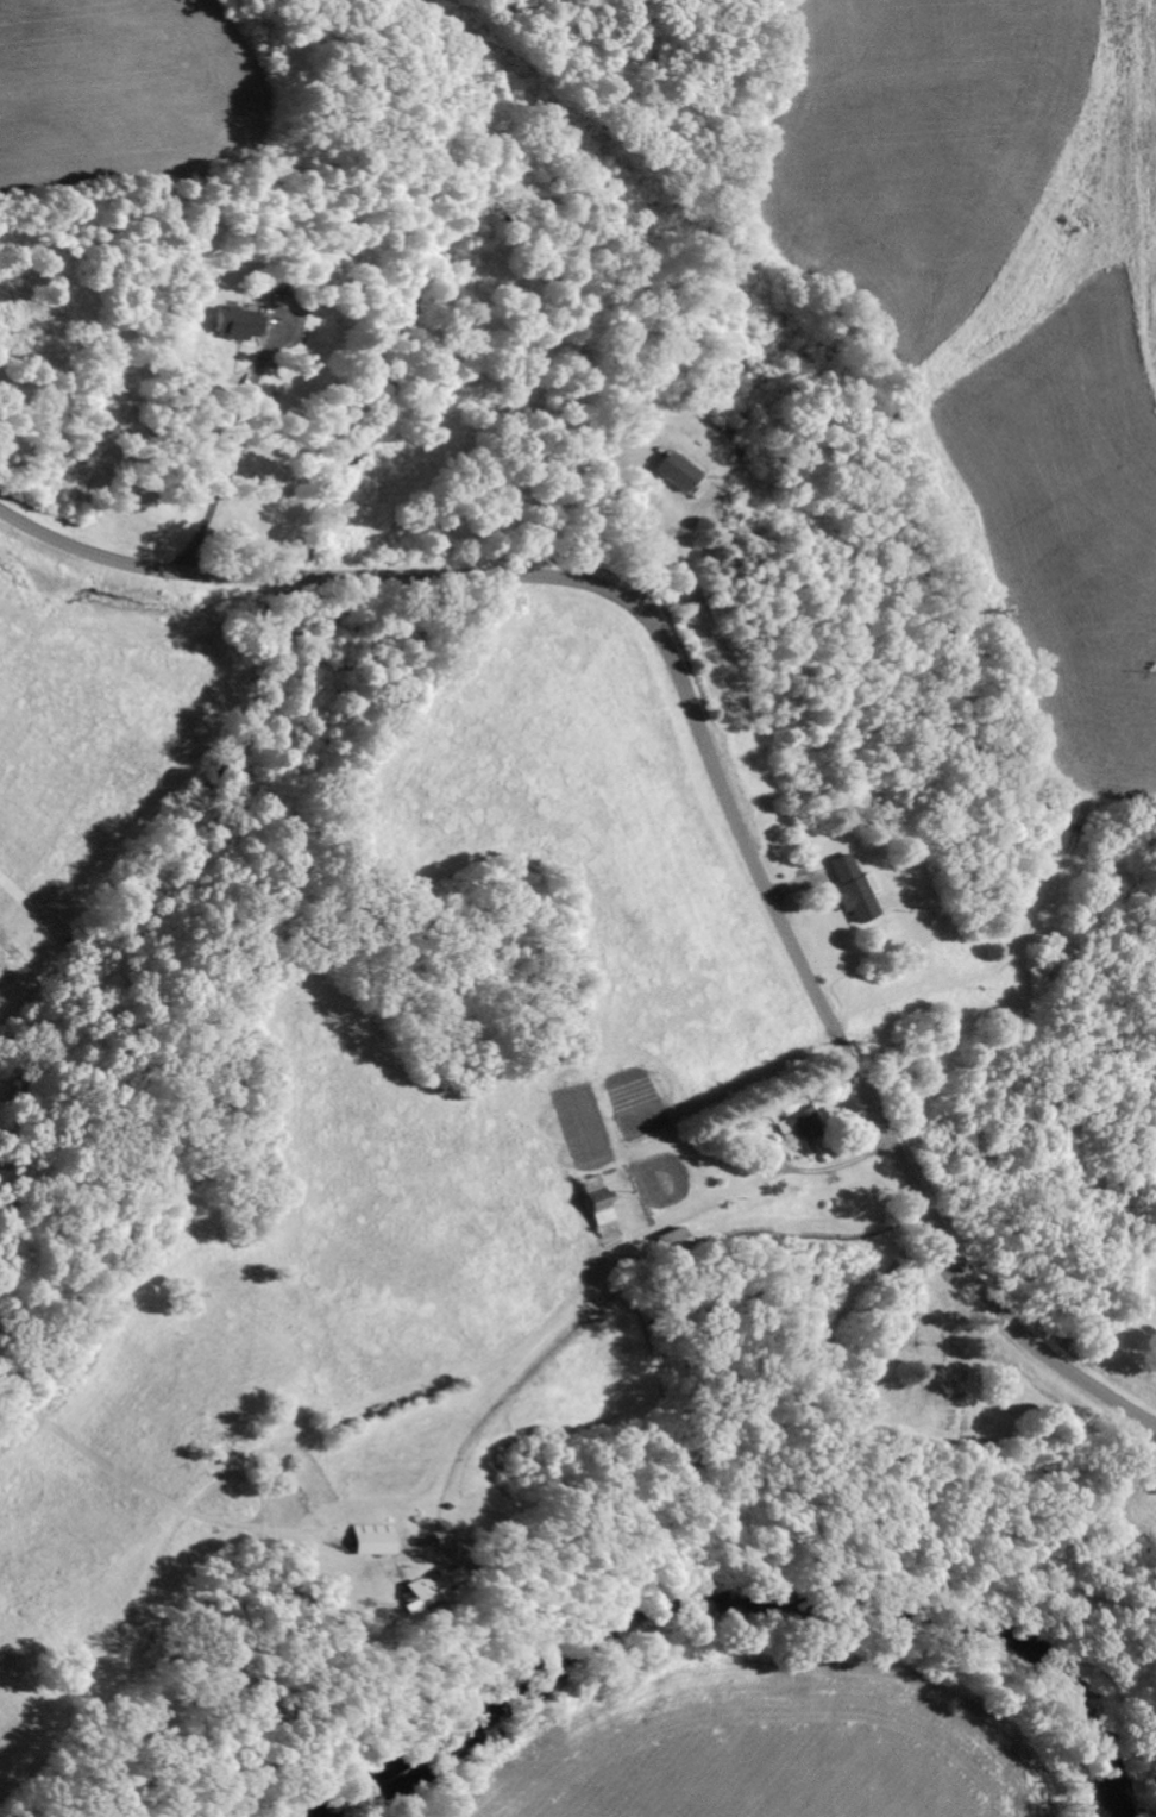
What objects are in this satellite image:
building: (232, 324)
building: (671, 471)
road: (706, 762)
building: (848, 890)
building: (761, 1121)
building: (796, 1127)
building: (596, 1207)
building: (668, 1241)
building: (367, 1540)
building: (416, 1590)

